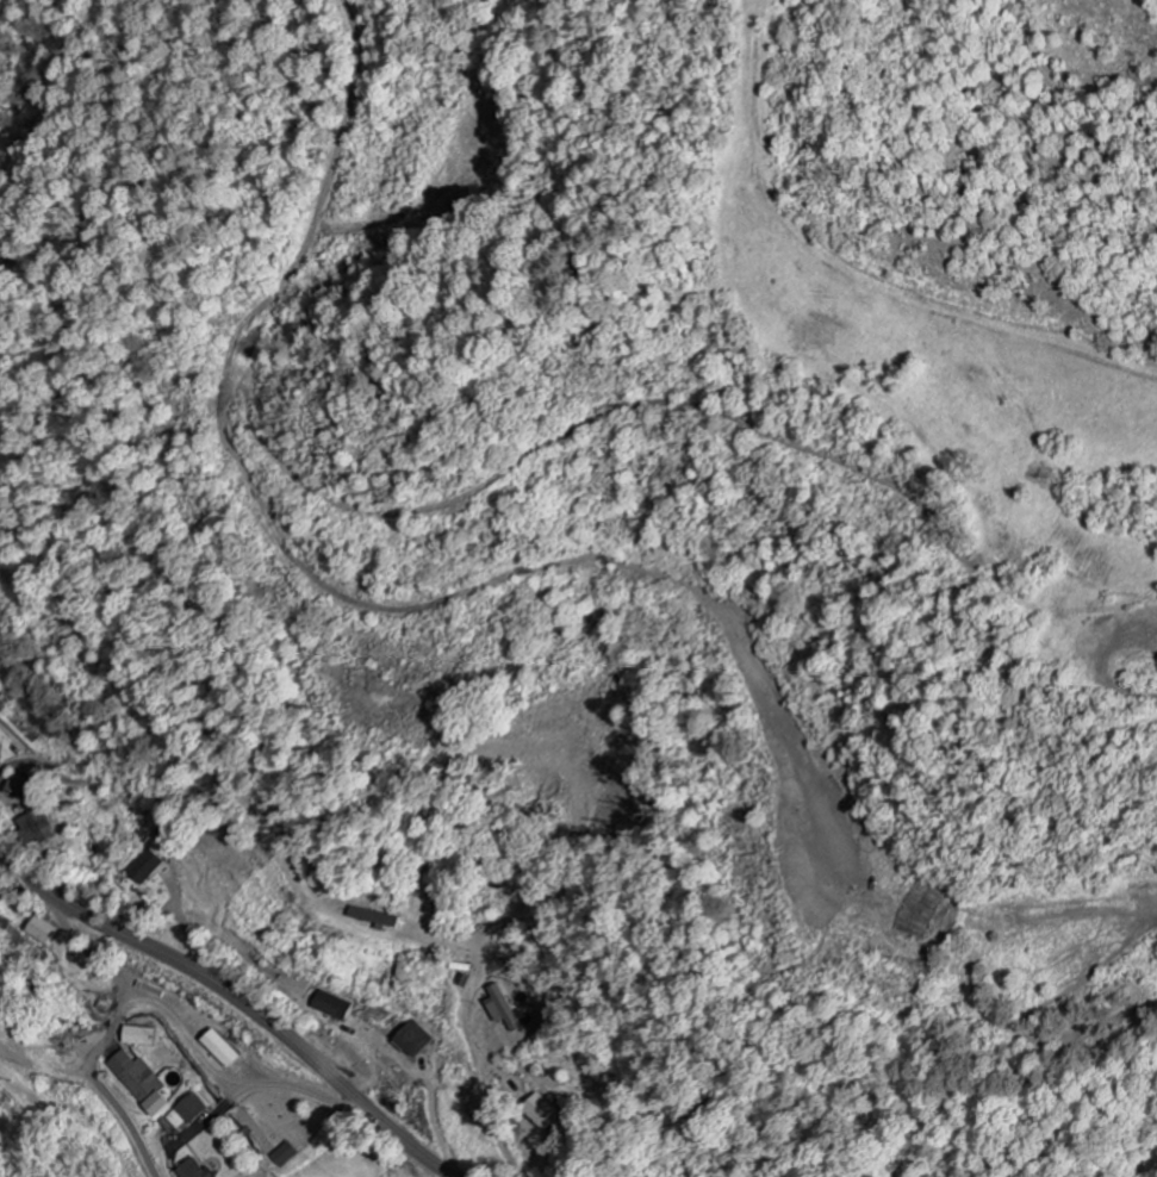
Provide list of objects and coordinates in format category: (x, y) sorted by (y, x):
building: (37, 829)
road: (2, 852)
building: (148, 868)
building: (45, 932)
road: (238, 996)
building: (335, 1007)
building: (504, 1009)
road: (106, 1034)
building: (143, 1038)
building: (416, 1041)
building: (144, 1084)
road: (490, 1091)
building: (543, 1113)
building: (187, 1114)
building: (287, 1156)
building: (195, 1170)

